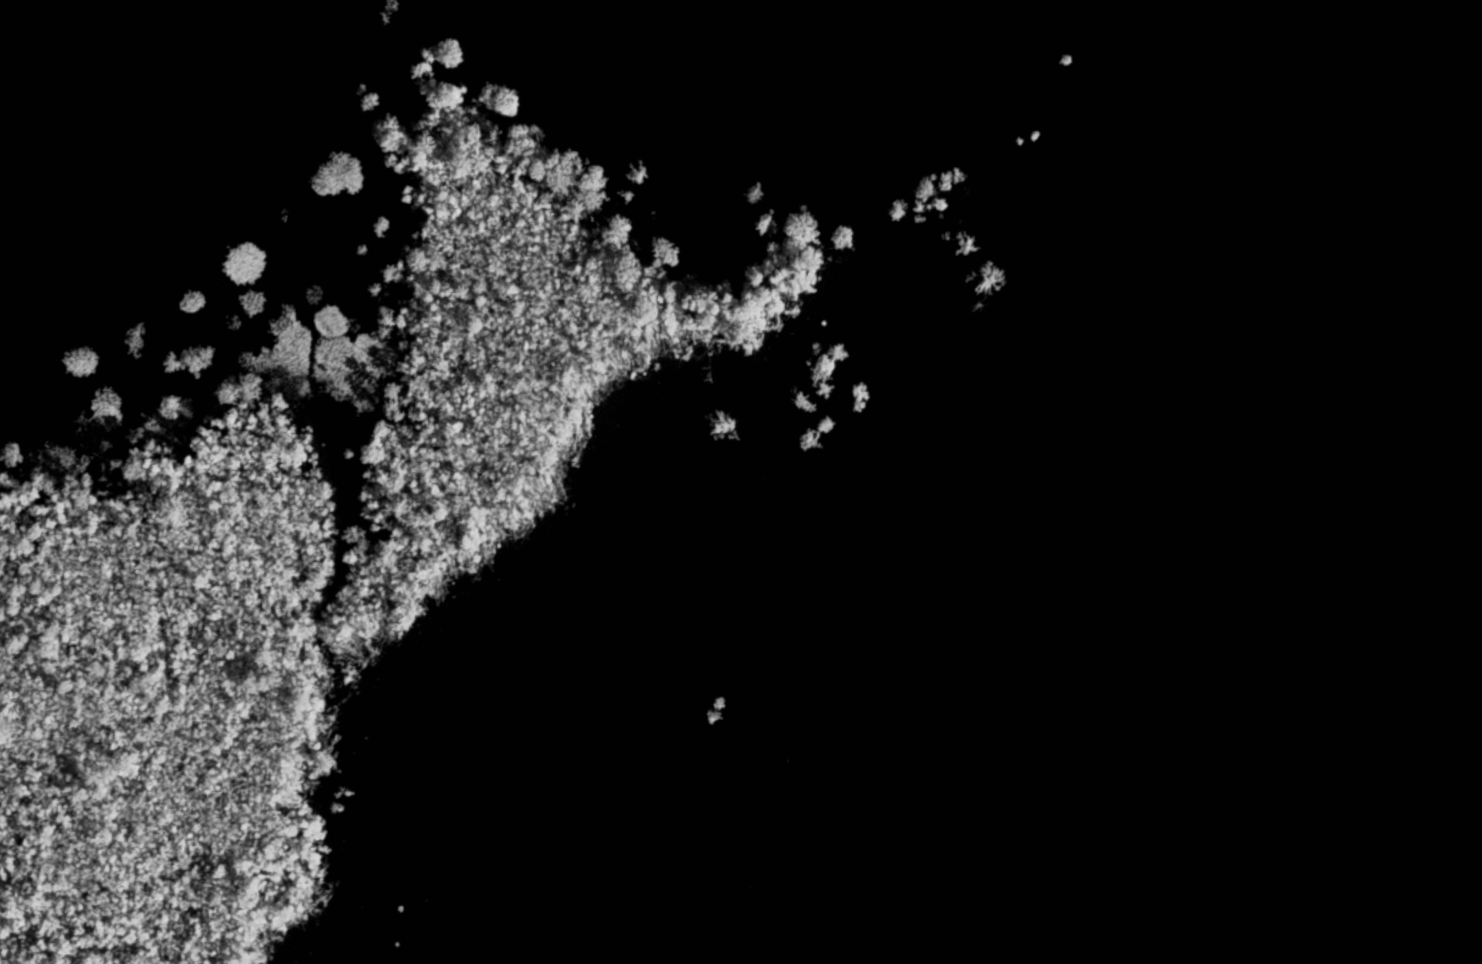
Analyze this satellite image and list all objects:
river: (1368, 441)

